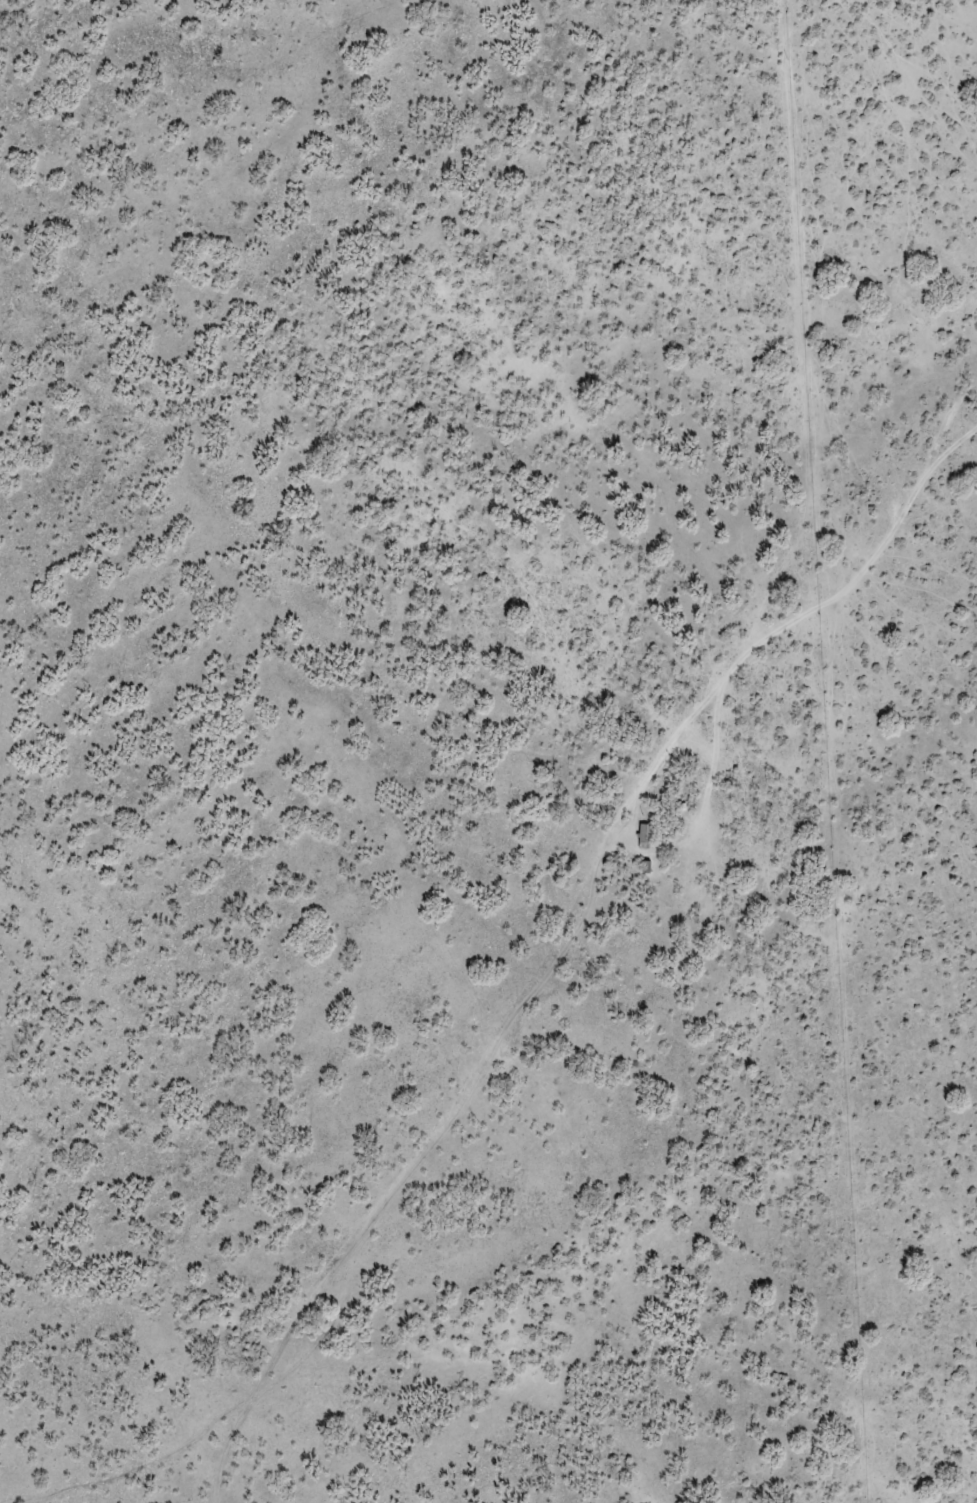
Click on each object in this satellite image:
building: (647, 833)
road: (583, 936)

